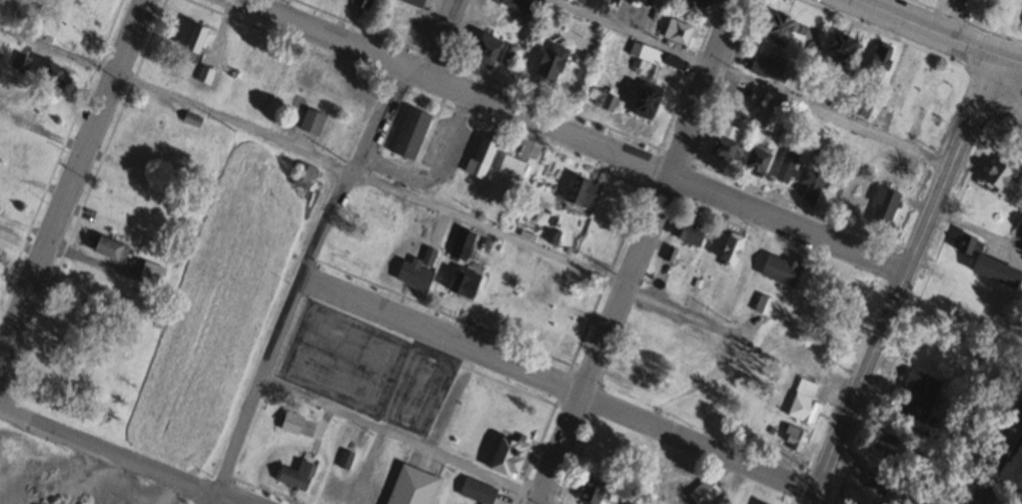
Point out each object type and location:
building: (645, 0)
building: (412, 2)
building: (971, 2)
building: (360, 4)
building: (518, 5)
building: (777, 29)
building: (676, 31)
road: (320, 34)
road: (443, 38)
road: (946, 40)
building: (191, 42)
building: (839, 45)
building: (483, 51)
building: (652, 56)
building: (549, 61)
building: (671, 62)
building: (875, 63)
road: (1007, 63)
building: (766, 67)
building: (50, 75)
building: (203, 76)
road: (746, 82)
building: (755, 98)
building: (926, 98)
building: (604, 101)
building: (643, 101)
building: (191, 120)
building: (766, 120)
building: (310, 122)
building: (408, 133)
building: (723, 143)
building: (15, 154)
building: (479, 157)
building: (755, 160)
building: (511, 167)
road: (654, 167)
building: (785, 168)
building: (301, 176)
building: (543, 178)
road: (72, 179)
building: (997, 179)
road: (371, 182)
building: (809, 186)
building: (581, 193)
building: (610, 198)
building: (882, 207)
building: (687, 231)
building: (460, 244)
building: (106, 249)
building: (728, 250)
road: (636, 252)
building: (520, 256)
building: (428, 257)
building: (987, 264)
building: (778, 269)
building: (149, 274)
building: (413, 275)
road: (897, 281)
road: (302, 282)
building: (462, 283)
building: (497, 292)
building: (762, 305)
road: (556, 386)
building: (919, 395)
building: (802, 402)
building: (289, 423)
building: (793, 439)
road: (409, 442)
road: (118, 456)
building: (507, 456)
road: (997, 456)
building: (295, 477)
building: (686, 483)
building: (410, 486)
building: (328, 490)
building: (362, 490)
building: (476, 491)
building: (589, 492)
building: (720, 494)
building: (856, 495)
building: (626, 502)
building: (650, 503)

